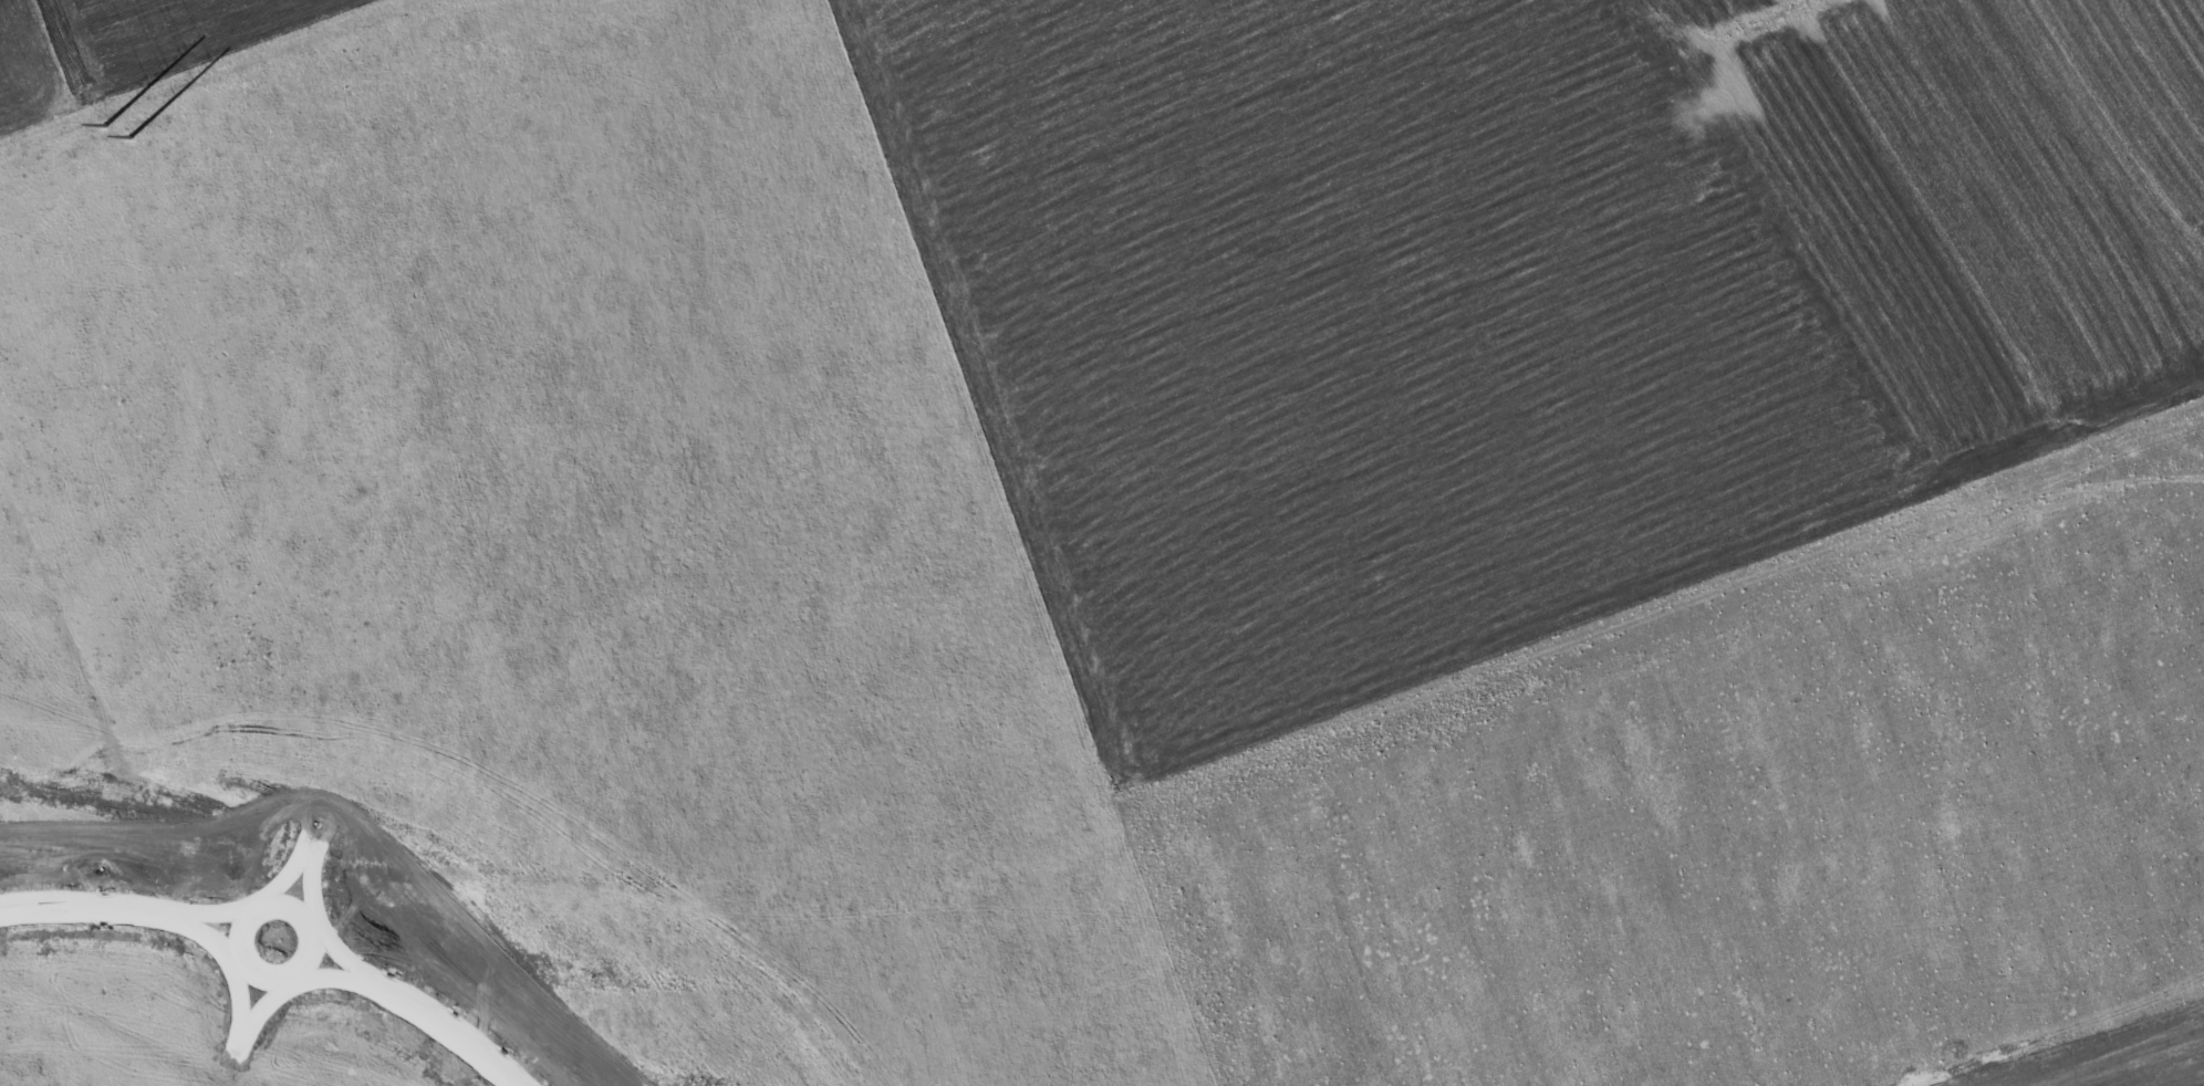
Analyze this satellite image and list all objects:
power tower: (115, 134)
road: (115, 261)
road: (228, 309)
road: (419, 428)
road: (475, 459)
road: (100, 464)
road: (83, 716)
road: (309, 844)
road: (87, 909)
road: (180, 916)
road: (315, 944)
road: (356, 973)
road: (245, 1022)
road: (440, 1024)
road: (241, 1040)

